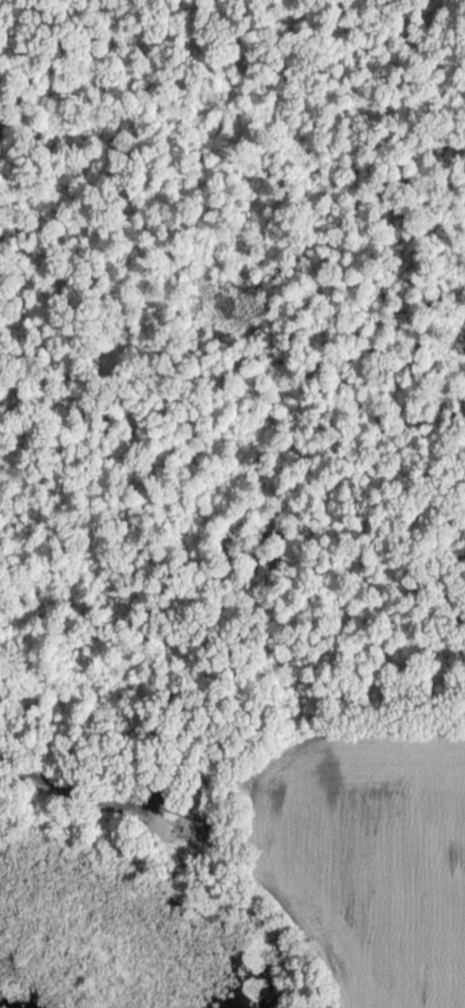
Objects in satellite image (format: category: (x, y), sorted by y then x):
crop: (370, 859)

